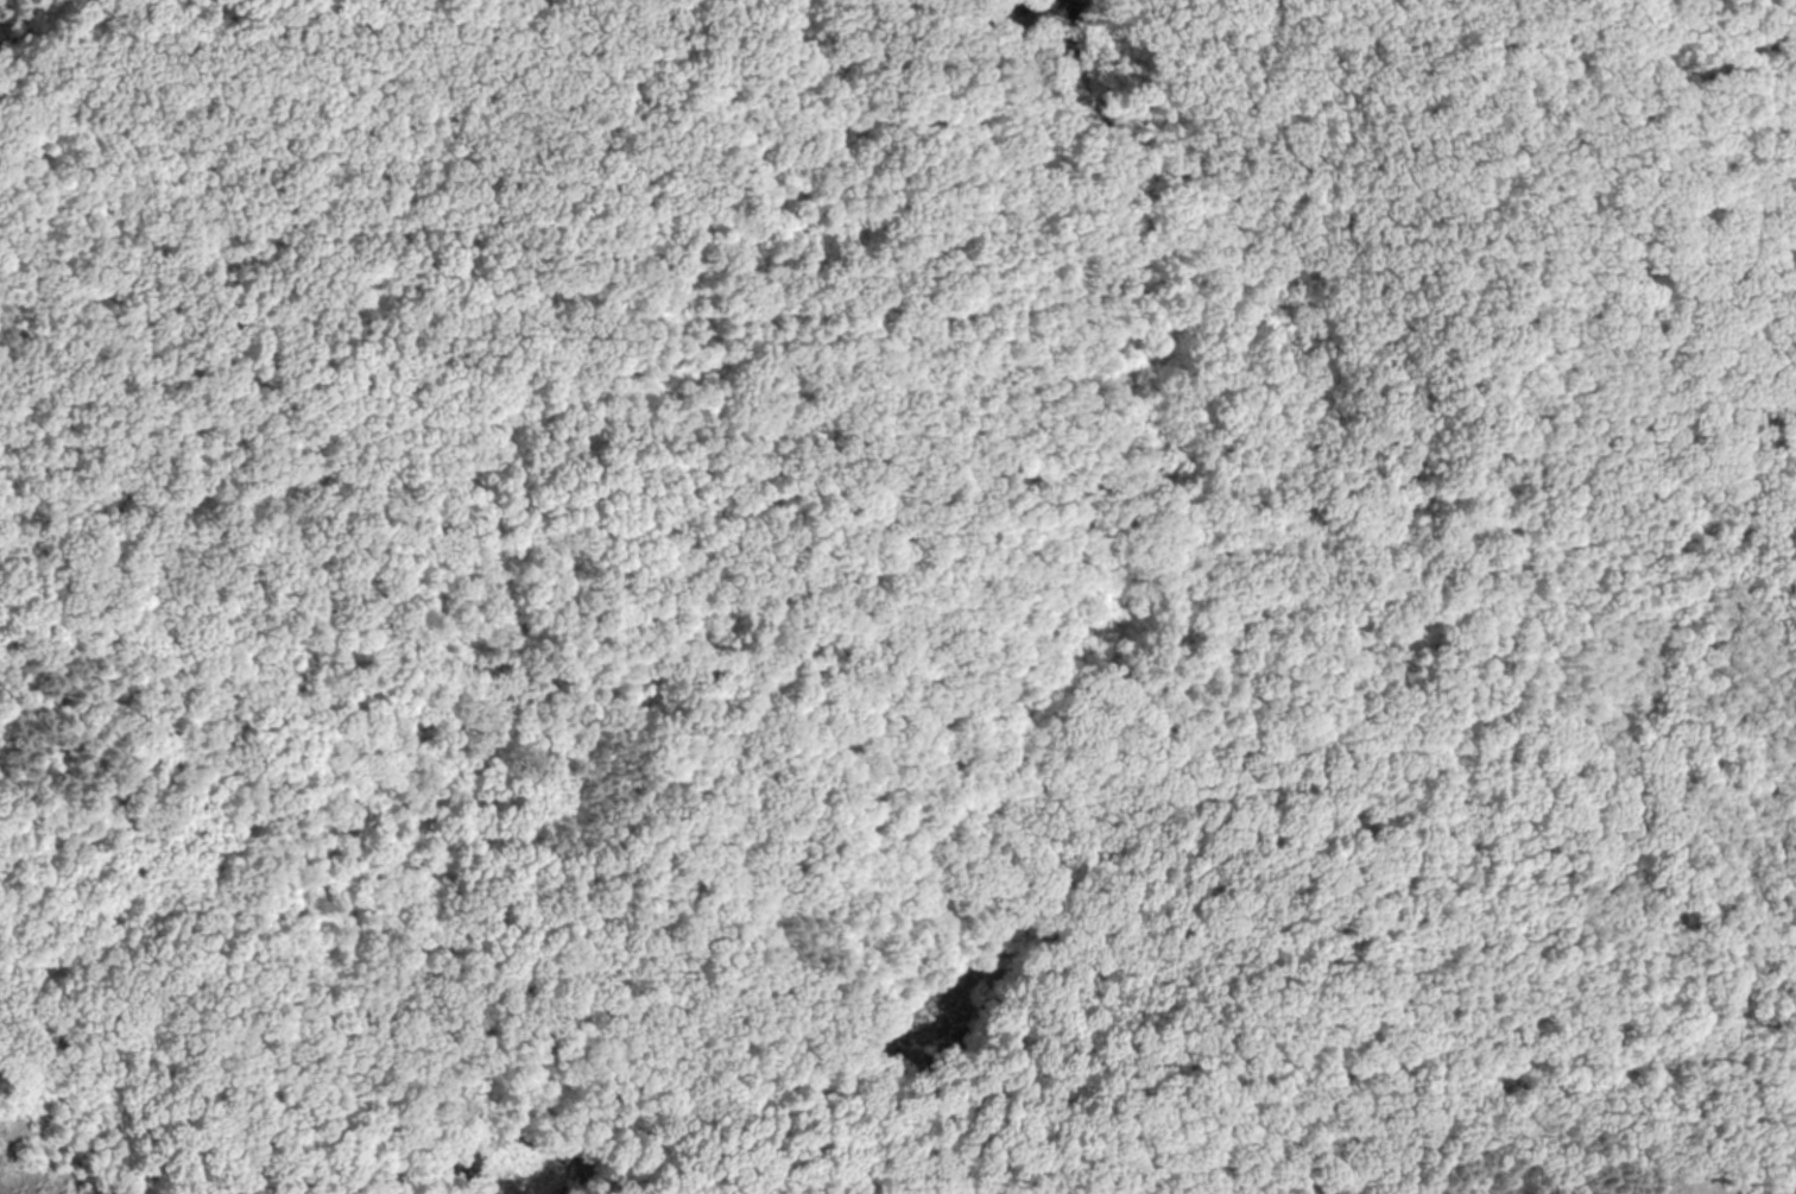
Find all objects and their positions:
road: (1516, 8)
park: (898, 596)
road: (36, 1118)
quarry: (65, 1146)
road: (226, 1168)

